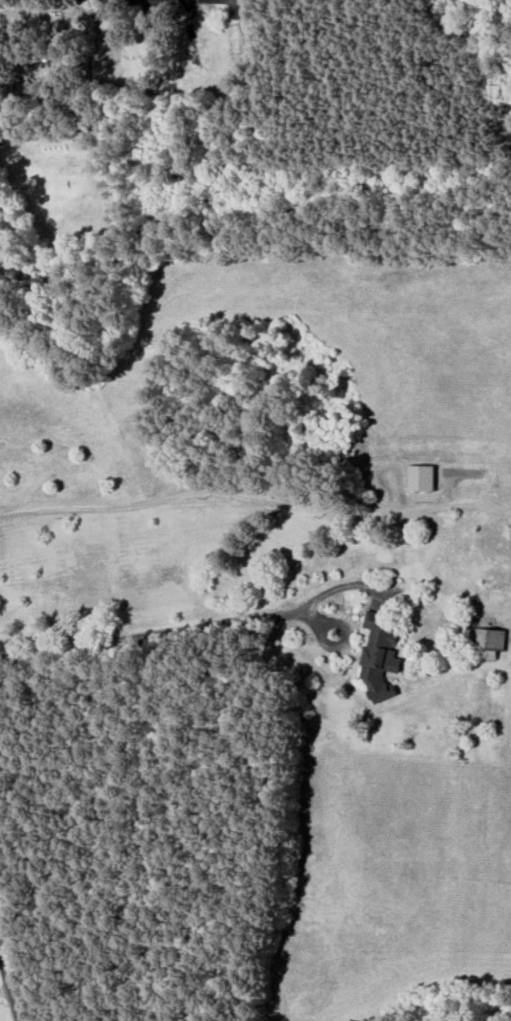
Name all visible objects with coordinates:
building: (422, 477)
road: (257, 501)
road: (156, 637)
road: (342, 641)
building: (488, 641)
building: (381, 655)
road: (10, 983)
road: (6, 990)

